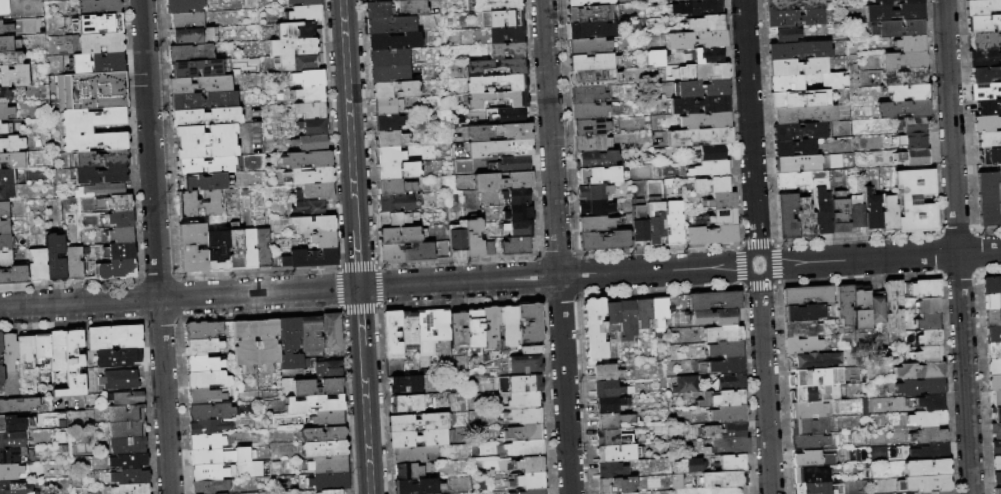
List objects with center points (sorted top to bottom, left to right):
building: (377, 0)
building: (896, 1)
building: (305, 2)
building: (587, 2)
building: (496, 5)
building: (791, 5)
building: (184, 6)
building: (4, 7)
building: (99, 7)
building: (982, 7)
building: (395, 8)
building: (702, 8)
building: (894, 12)
building: (306, 14)
building: (588, 14)
building: (504, 17)
building: (794, 18)
building: (187, 20)
building: (983, 23)
building: (100, 24)
building: (705, 24)
building: (391, 25)
building: (6, 28)
building: (897, 28)
building: (589, 30)
building: (294, 31)
building: (506, 34)
building: (787, 35)
building: (195, 36)
building: (696, 39)
building: (393, 41)
building: (984, 41)
building: (909, 43)
building: (6, 44)
building: (98, 44)
building: (589, 46)
building: (292, 47)
building: (507, 50)
building: (802, 50)
building: (190, 53)
building: (708, 55)
building: (653, 57)
building: (10, 58)
building: (388, 58)
building: (984, 58)
building: (903, 60)
building: (593, 62)
building: (100, 64)
building: (297, 64)
building: (495, 66)
building: (796, 66)
building: (852, 67)
building: (197, 69)
building: (704, 71)
building: (388, 74)
building: (985, 74)
building: (14, 76)
building: (904, 76)
building: (594, 78)
building: (308, 79)
building: (833, 80)
building: (495, 82)
building: (785, 83)
building: (200, 85)
building: (700, 88)
building: (395, 89)
building: (92, 91)
building: (985, 91)
building: (908, 92)
building: (310, 94)
building: (587, 94)
building: (12, 95)
building: (798, 99)
building: (480, 100)
building: (202, 101)
building: (700, 104)
building: (388, 106)
building: (988, 107)
building: (902, 109)
building: (310, 110)
building: (589, 111)
building: (6, 112)
road: (348, 114)
building: (805, 114)
building: (511, 115)
building: (206, 117)
building: (705, 120)
building: (389, 121)
building: (987, 123)
building: (912, 124)
building: (590, 126)
building: (312, 127)
building: (3, 129)
building: (77, 129)
building: (498, 131)
building: (801, 131)
building: (699, 136)
building: (390, 138)
building: (914, 140)
building: (989, 140)
building: (205, 142)
building: (311, 143)
building: (591, 143)
building: (12, 144)
building: (498, 148)
building: (793, 148)
building: (712, 153)
building: (390, 155)
building: (914, 156)
building: (989, 156)
building: (102, 159)
building: (307, 159)
building: (597, 159)
building: (13, 160)
building: (513, 163)
building: (796, 163)
building: (208, 166)
building: (710, 168)
building: (398, 170)
building: (837, 173)
building: (102, 175)
building: (601, 175)
building: (310, 176)
building: (6, 178)
building: (503, 180)
building: (792, 180)
building: (203, 182)
building: (711, 184)
building: (395, 187)
building: (101, 190)
building: (317, 191)
building: (6, 194)
building: (518, 196)
building: (989, 199)
building: (594, 200)
building: (720, 200)
building: (915, 200)
building: (120, 203)
building: (395, 203)
building: (197, 204)
building: (308, 206)
building: (4, 209)
building: (871, 210)
building: (822, 211)
building: (839, 212)
building: (856, 212)
building: (519, 213)
building: (888, 215)
building: (721, 216)
building: (787, 216)
building: (121, 219)
building: (397, 219)
building: (805, 219)
building: (656, 220)
building: (698, 221)
building: (639, 222)
building: (674, 222)
building: (595, 223)
building: (313, 224)
building: (5, 227)
building: (517, 228)
building: (471, 234)
building: (710, 234)
building: (122, 235)
building: (400, 235)
building: (454, 236)
building: (323, 240)
building: (603, 240)
road: (757, 241)
building: (5, 242)
building: (516, 245)
road: (156, 246)
building: (486, 246)
road: (557, 246)
road: (757, 246)
road: (957, 246)
building: (192, 248)
building: (248, 248)
building: (262, 248)
road: (658, 248)
building: (234, 249)
building: (216, 251)
building: (406, 251)
building: (122, 252)
road: (556, 255)
road: (357, 257)
building: (6, 259)
building: (56, 259)
building: (310, 259)
road: (457, 261)
road: (775, 262)
building: (74, 263)
road: (740, 263)
building: (39, 266)
road: (357, 266)
building: (117, 270)
road: (256, 272)
road: (576, 274)
building: (14, 276)
road: (539, 276)
road: (157, 277)
road: (500, 279)
road: (759, 283)
road: (377, 285)
building: (992, 285)
road: (339, 288)
traffic signals: (359, 288)
road: (659, 289)
building: (925, 289)
building: (807, 295)
road: (559, 296)
road: (175, 297)
road: (141, 299)
road: (460, 301)
building: (714, 301)
building: (992, 301)
building: (845, 304)
building: (928, 305)
building: (894, 306)
road: (360, 307)
building: (861, 307)
building: (803, 311)
building: (877, 312)
road: (260, 313)
building: (659, 313)
building: (643, 314)
road: (360, 316)
building: (611, 317)
building: (716, 317)
building: (992, 317)
road: (161, 319)
building: (627, 319)
building: (529, 322)
building: (927, 322)
building: (440, 324)
building: (508, 325)
building: (424, 326)
building: (490, 326)
building: (408, 328)
building: (473, 328)
building: (801, 328)
building: (202, 330)
building: (593, 330)
building: (332, 332)
building: (457, 332)
building: (722, 333)
building: (311, 334)
building: (993, 334)
building: (392, 335)
building: (115, 338)
building: (929, 338)
building: (0, 343)
building: (267, 343)
building: (289, 343)
building: (244, 344)
building: (802, 345)
building: (42, 347)
building: (201, 347)
building: (26, 348)
building: (724, 348)
building: (530, 349)
building: (994, 350)
building: (57, 351)
building: (10, 352)
building: (928, 354)
building: (125, 358)
building: (656, 358)
building: (817, 360)
building: (203, 364)
building: (524, 364)
building: (726, 364)
building: (73, 366)
building: (393, 366)
building: (993, 366)
building: (423, 367)
building: (328, 369)
building: (660, 369)
building: (920, 370)
building: (606, 372)
building: (817, 376)
building: (1, 377)
building: (206, 379)
building: (120, 380)
building: (729, 381)
building: (994, 382)
building: (404, 384)
building: (519, 384)
building: (684, 384)
building: (920, 386)
building: (317, 387)
building: (609, 388)
building: (816, 393)
building: (207, 396)
building: (721, 398)
building: (996, 398)
building: (129, 399)
building: (524, 400)
building: (927, 402)
building: (406, 403)
building: (610, 403)
building: (314, 404)
building: (19, 405)
building: (833, 407)
building: (809, 410)
building: (209, 411)
building: (127, 414)
building: (729, 414)
building: (996, 414)
building: (523, 416)
building: (927, 418)
building: (328, 419)
building: (613, 419)
road: (366, 420)
building: (419, 421)
building: (10, 424)
building: (810, 426)
building: (208, 427)
building: (128, 430)
building: (660, 430)
building: (733, 430)
building: (996, 430)
building: (524, 432)
building: (322, 434)
building: (928, 435)
building: (610, 437)
building: (417, 438)
building: (12, 440)
building: (206, 441)
building: (809, 441)
building: (128, 446)
building: (730, 446)
building: (996, 447)
building: (525, 448)
building: (324, 449)
building: (930, 452)
building: (616, 453)
building: (412, 454)
building: (11, 455)
building: (220, 456)
building: (812, 459)
building: (130, 461)
building: (997, 462)
building: (733, 463)
building: (530, 464)
building: (328, 465)
building: (688, 465)
building: (927, 468)
building: (610, 470)
building: (407, 471)
building: (10, 472)
building: (209, 472)
building: (809, 475)
building: (127, 477)
building: (997, 477)
building: (726, 479)
building: (532, 481)
building: (328, 482)
building: (676, 482)
building: (931, 484)
building: (616, 485)
building: (210, 486)
building: (418, 486)
building: (15, 488)
building: (819, 488)
building: (132, 489)
building: (997, 490)
building: (532, 491)
building: (331, 492)
building: (935, 492)
building: (216, 493)
building: (630, 493)

